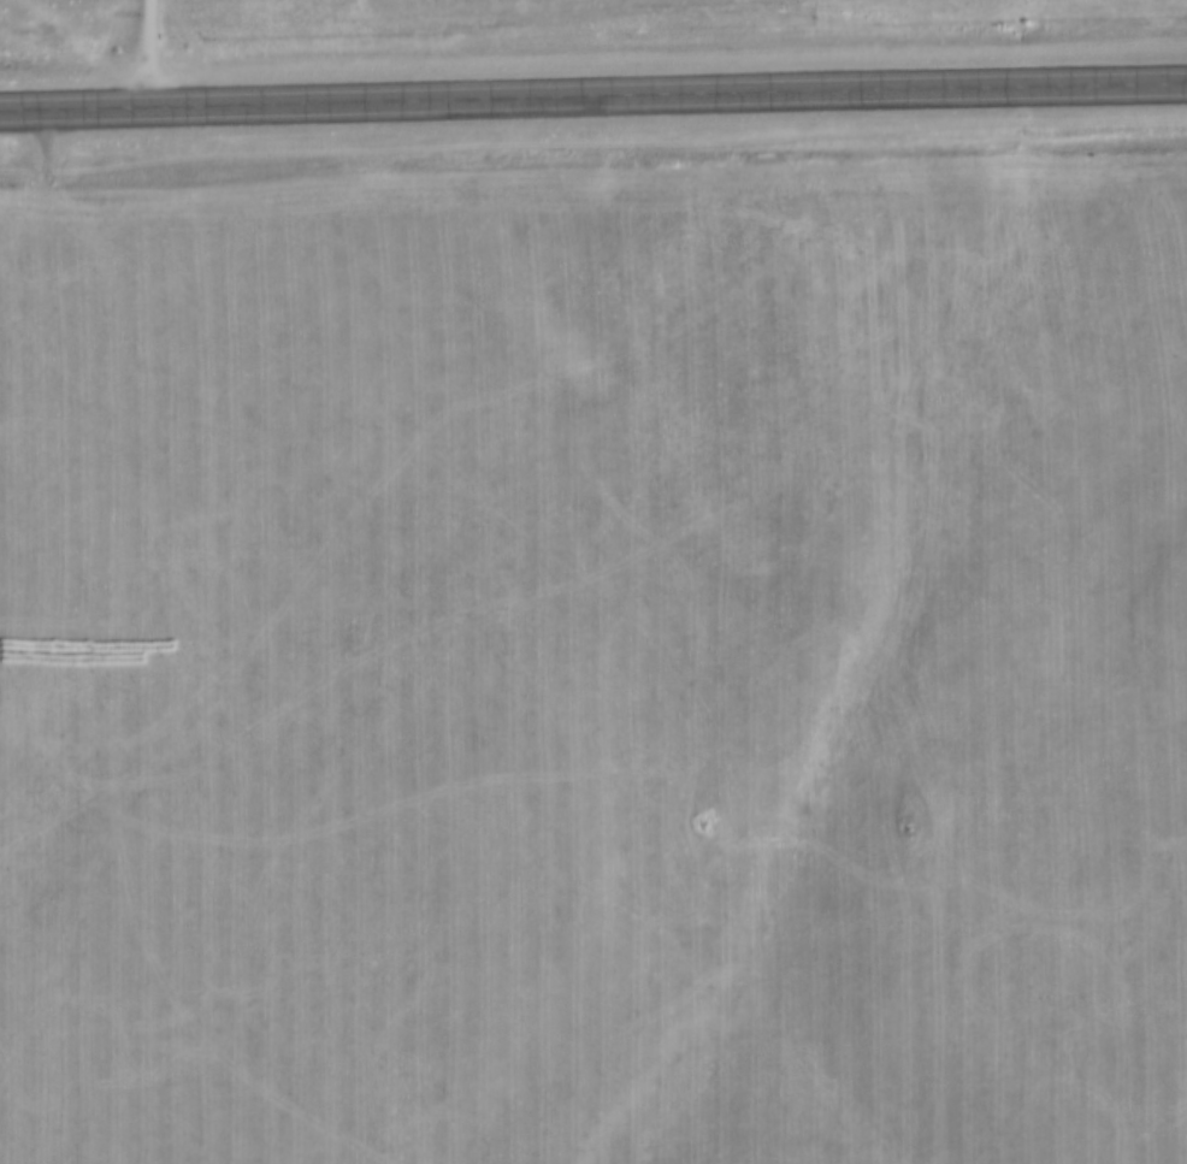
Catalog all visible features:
road: (152, 55)
road: (593, 96)

